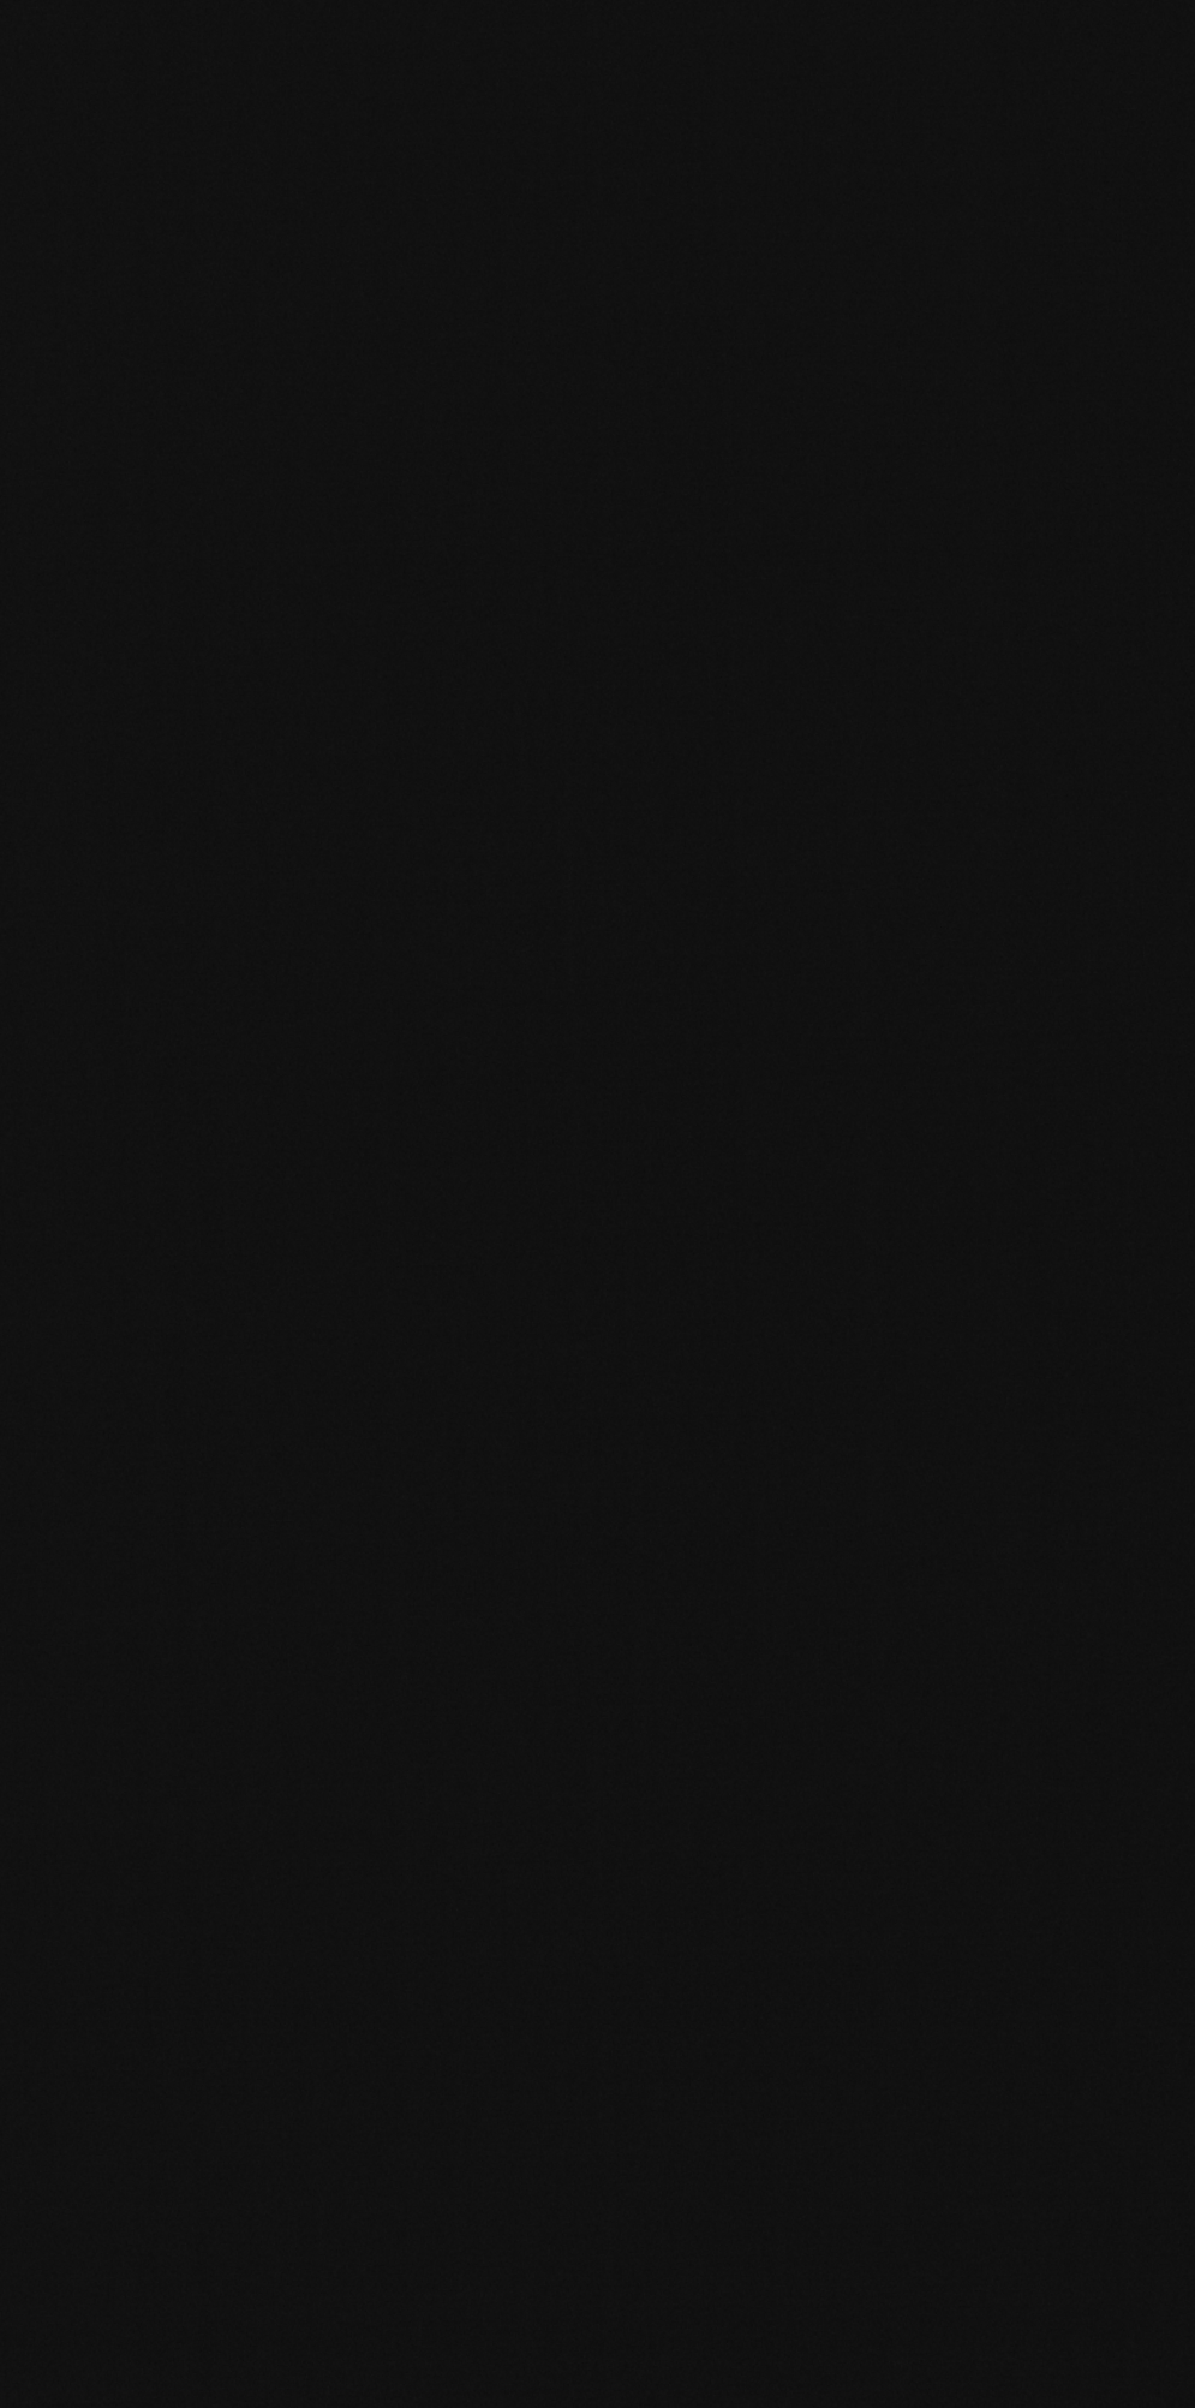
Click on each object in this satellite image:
river: (56, 19)
river: (908, 130)
park: (597, 1204)

